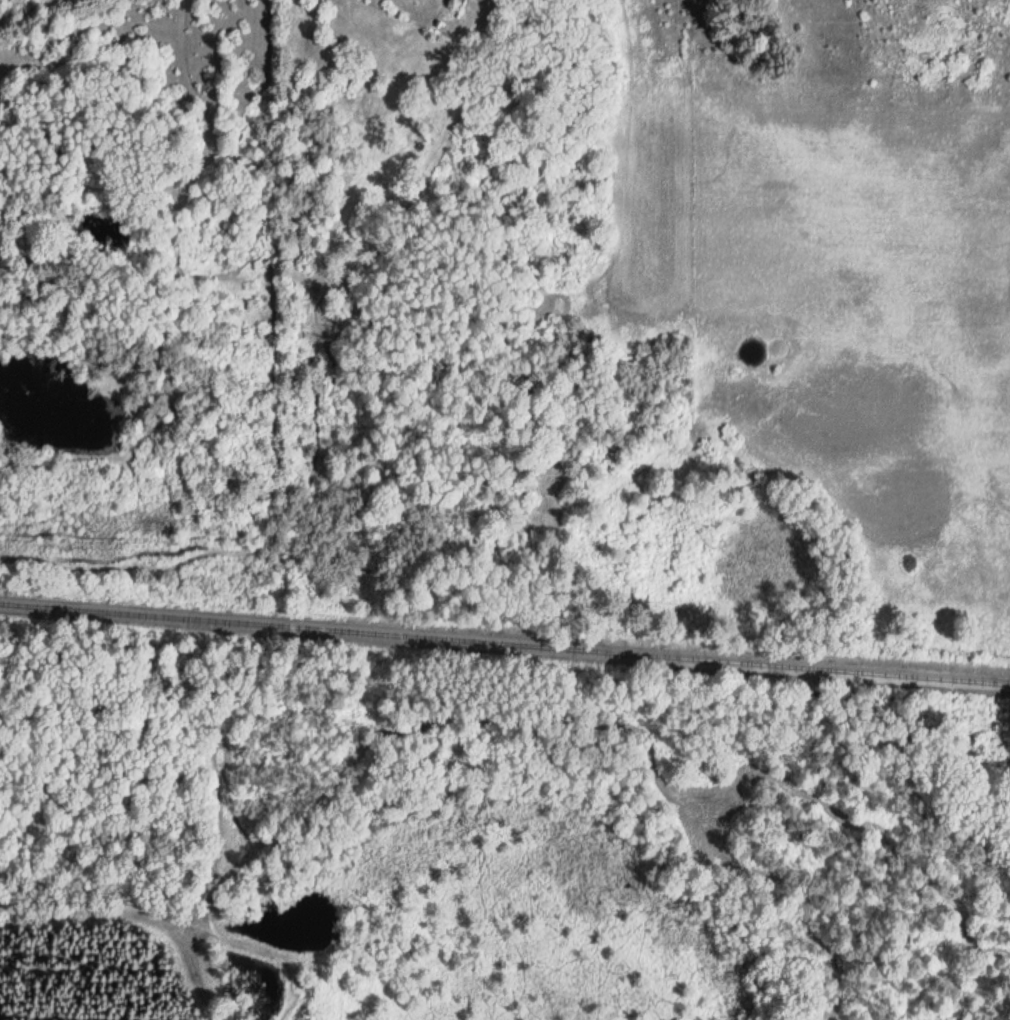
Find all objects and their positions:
railway: (505, 639)

